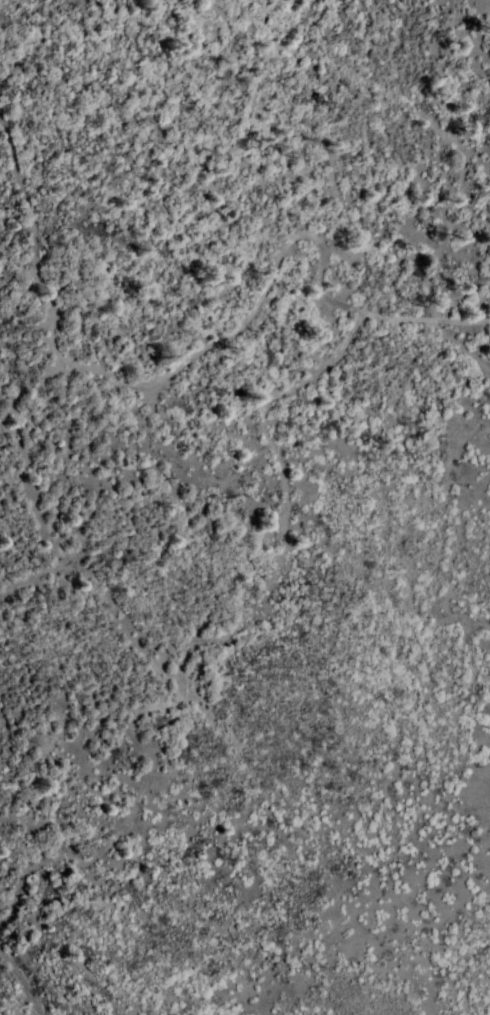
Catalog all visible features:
road: (17, 979)

